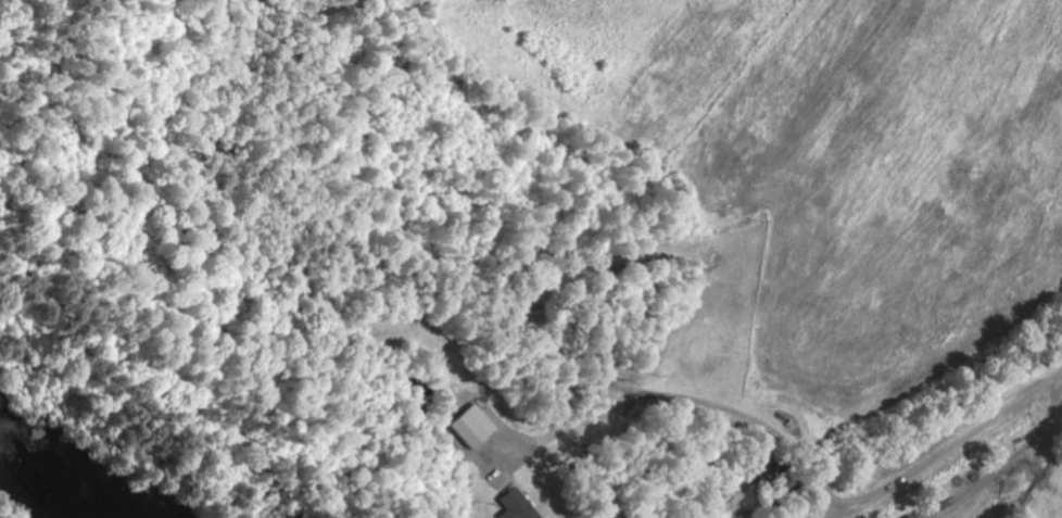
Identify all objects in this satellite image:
building: (477, 427)
road: (945, 445)
building: (522, 506)

